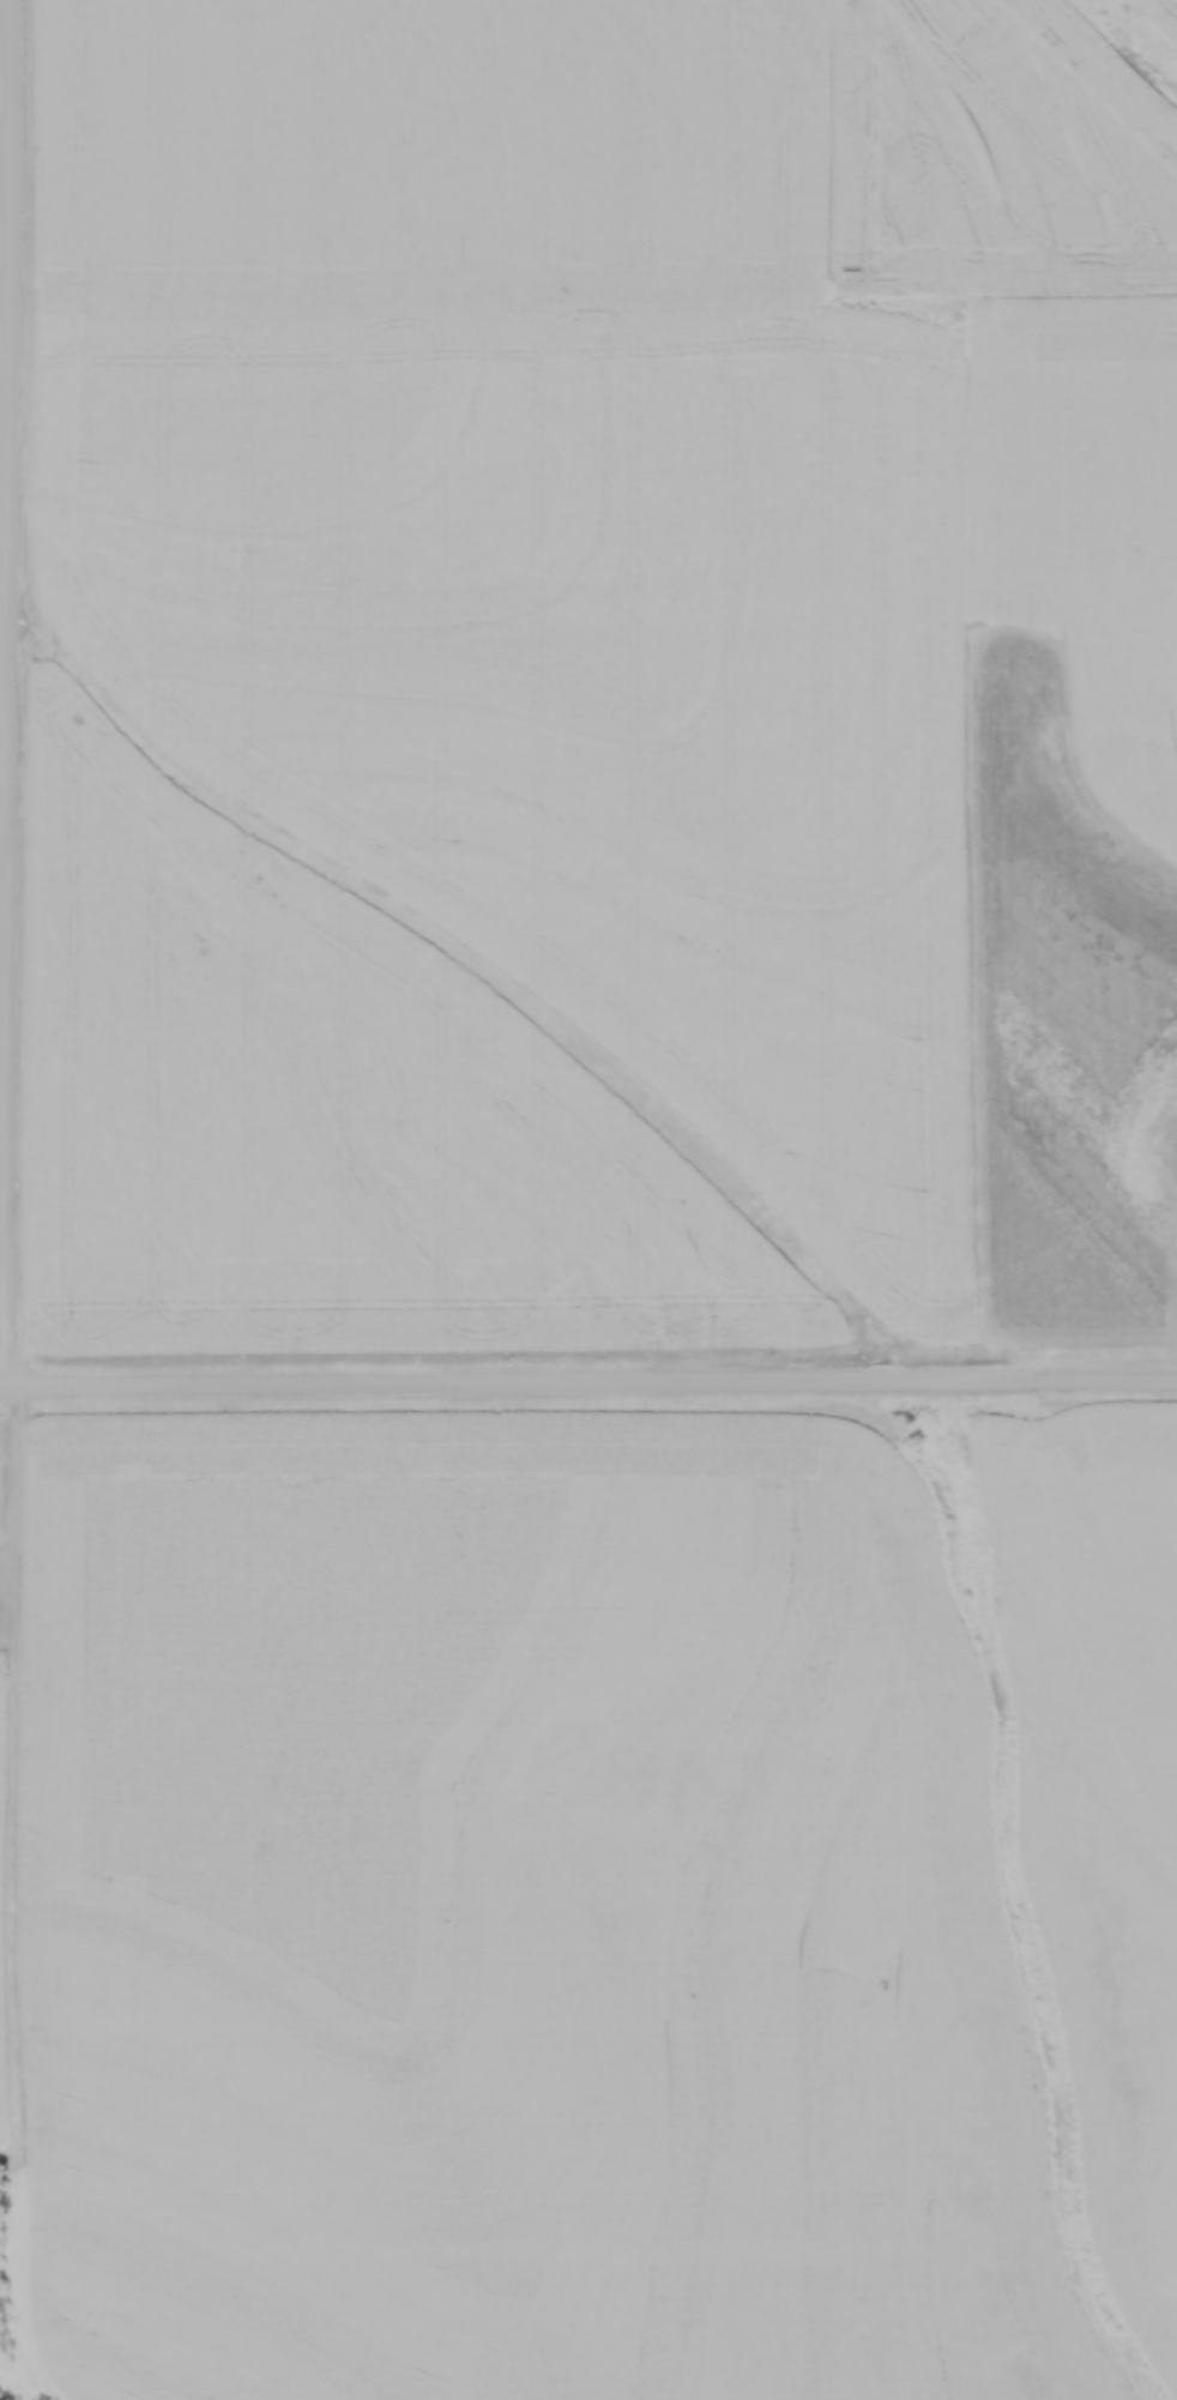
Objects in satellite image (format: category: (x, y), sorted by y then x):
building: (8, 102)
road: (10, 694)
road: (587, 1385)

